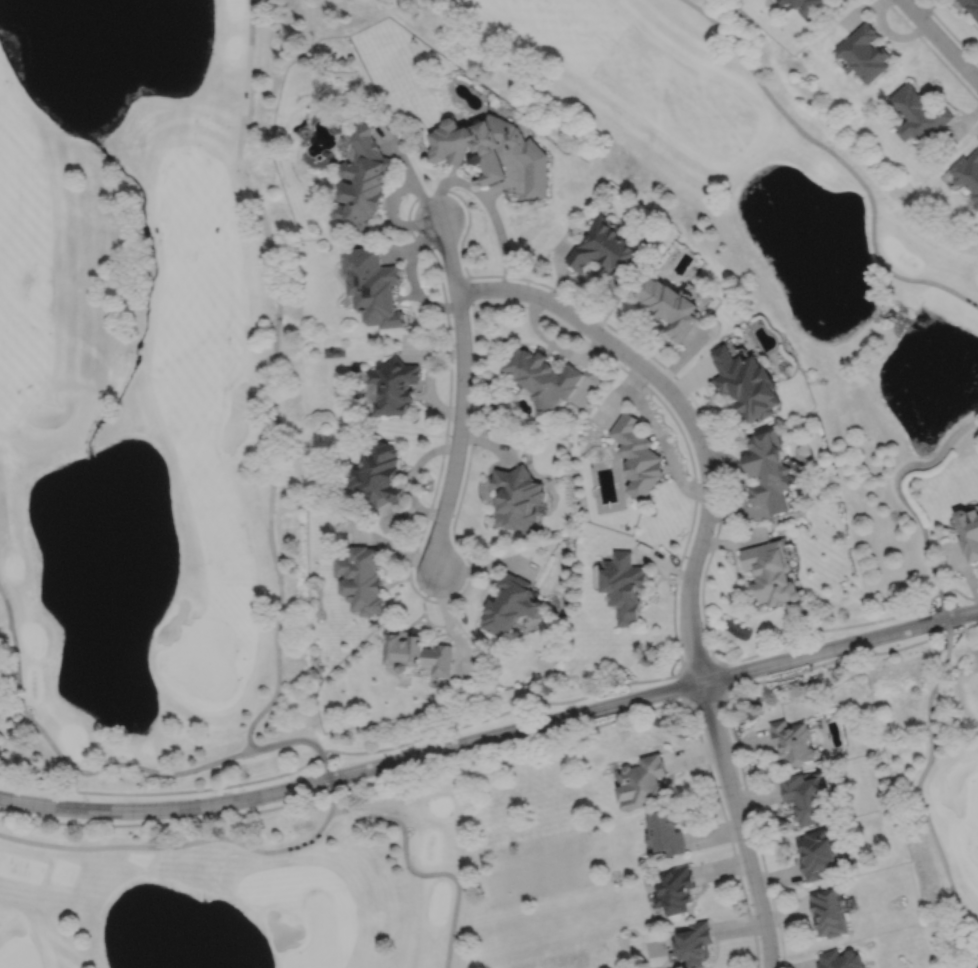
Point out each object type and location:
building: (780, 0)
building: (790, 0)
building: (785, 1)
building: (809, 5)
building: (971, 5)
fountain: (125, 13)
road: (949, 30)
road: (940, 40)
road: (931, 50)
building: (865, 51)
fountain: (135, 60)
building: (920, 112)
building: (492, 148)
road: (839, 159)
building: (968, 172)
building: (363, 177)
road: (486, 199)
building: (607, 251)
building: (374, 285)
building: (670, 305)
street lamp: (542, 308)
street lamp: (449, 322)
street lamp: (625, 365)
road: (274, 378)
building: (543, 378)
building: (747, 383)
building: (393, 385)
road: (462, 396)
road: (695, 402)
road: (687, 413)
street lamp: (448, 440)
street lamp: (710, 442)
building: (638, 456)
building: (770, 471)
building: (379, 474)
park: (149, 486)
building: (517, 497)
road: (904, 499)
road: (455, 511)
building: (969, 532)
street lamp: (713, 534)
street lamp: (419, 549)
building: (771, 574)
building: (363, 580)
building: (624, 587)
road: (959, 591)
street lamp: (967, 601)
building: (511, 605)
road: (831, 627)
road: (963, 627)
building: (418, 653)
road: (836, 658)
street lamp: (730, 663)
road: (699, 668)
road: (706, 693)
road: (498, 713)
street lamp: (607, 716)
street lamp: (542, 733)
street lamp: (458, 734)
road: (492, 736)
building: (794, 740)
road: (313, 744)
road: (509, 744)
road: (65, 763)
building: (643, 781)
street lamp: (350, 782)
street lamp: (740, 784)
street lamp: (242, 788)
road: (918, 790)
road: (163, 792)
street lamp: (298, 796)
building: (806, 796)
street lamp: (86, 798)
street lamp: (5, 809)
street lamp: (163, 817)
road: (167, 821)
road: (739, 823)
road: (753, 828)
building: (666, 831)
road: (727, 832)
road: (177, 845)
building: (817, 852)
road: (420, 872)
building: (675, 889)
street lamp: (748, 897)
building: (830, 910)
building: (695, 943)
building: (842, 959)

